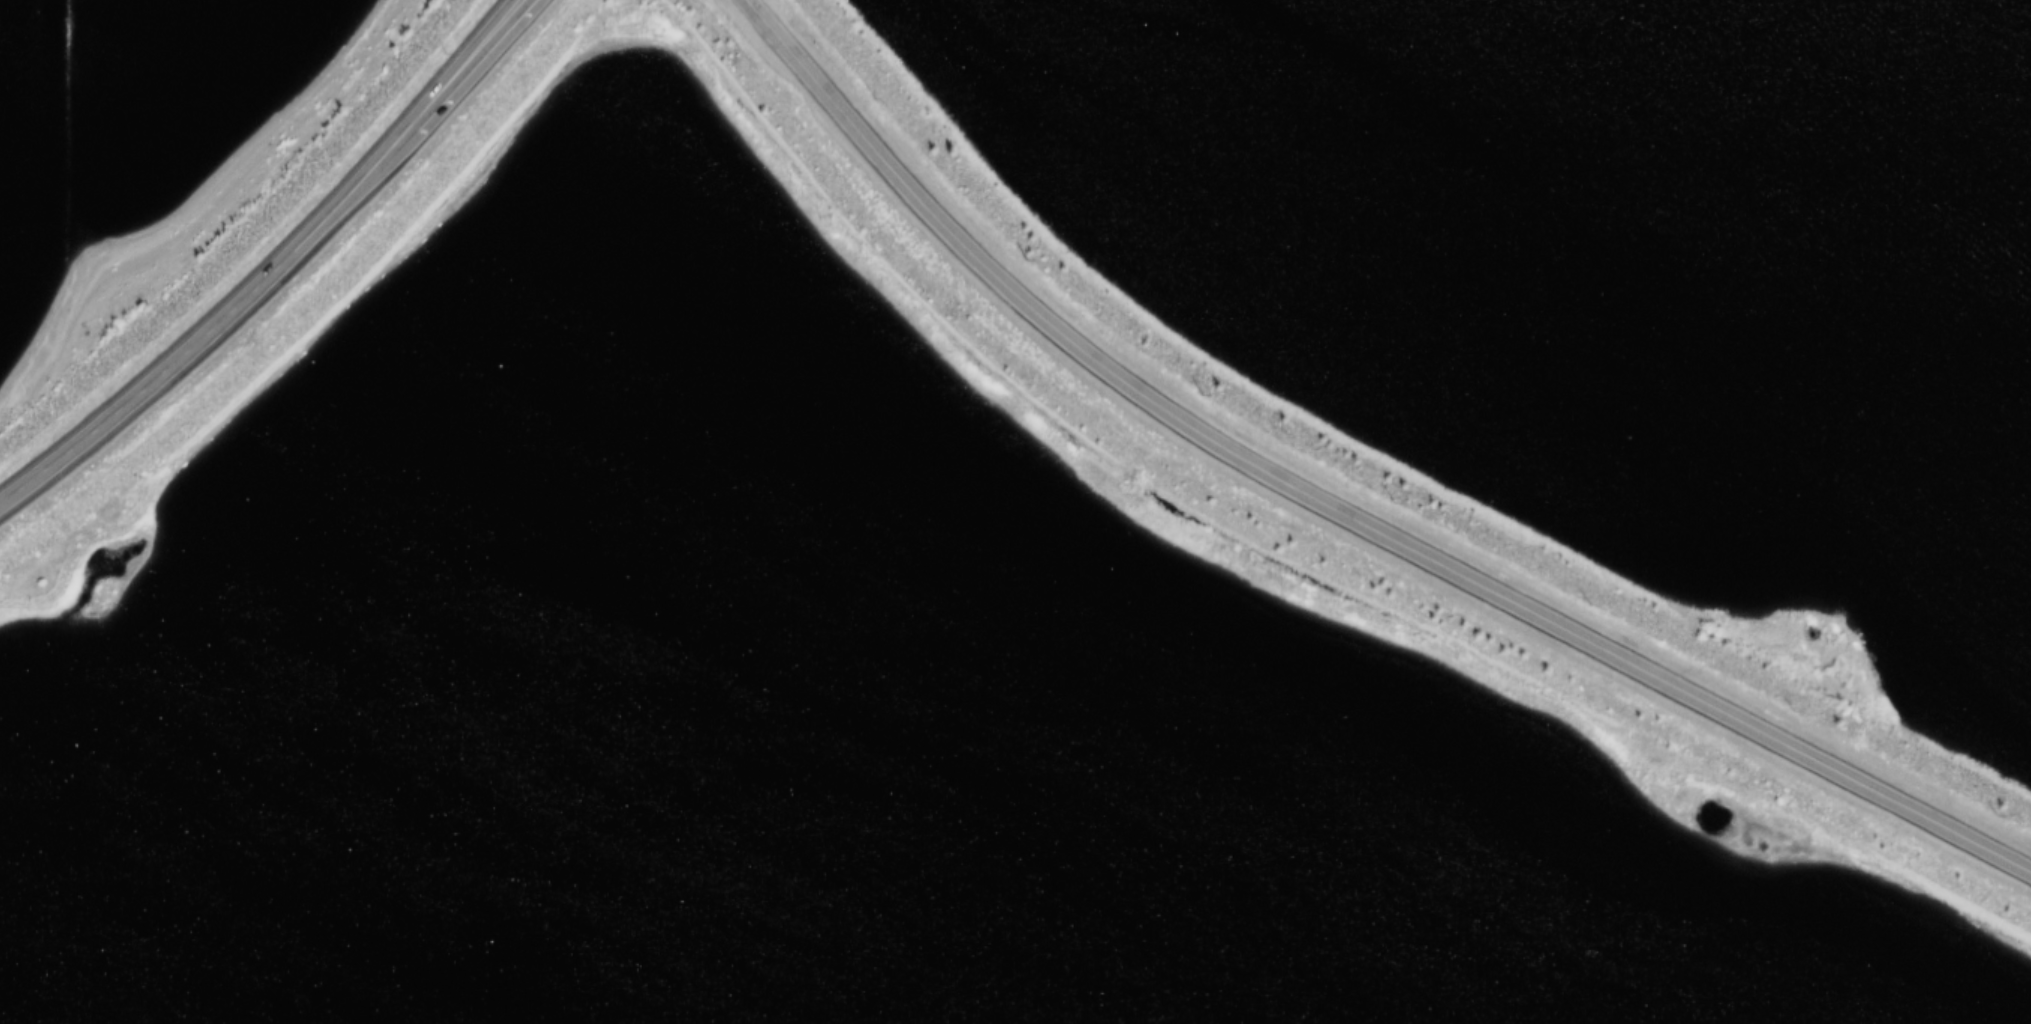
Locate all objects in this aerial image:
road: (444, 59)
road: (205, 315)
road: (1362, 477)

